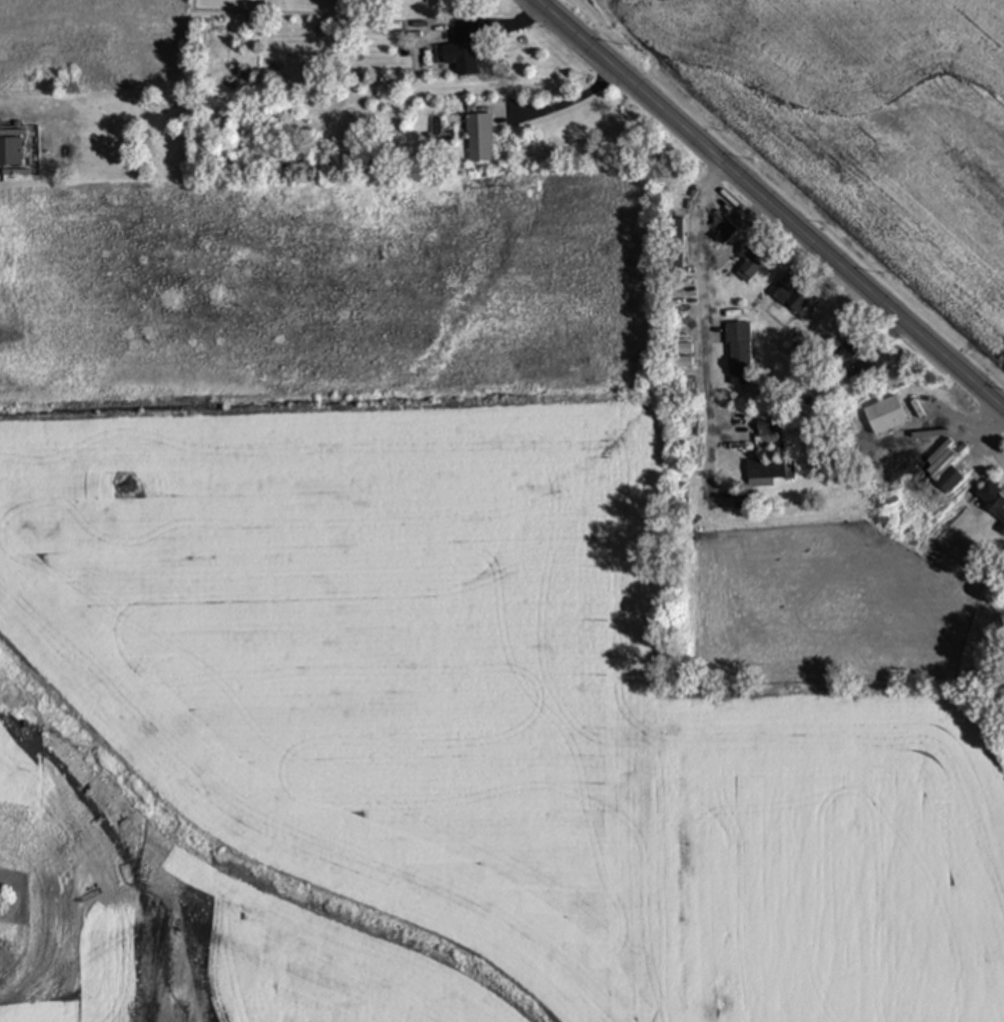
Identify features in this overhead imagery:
building: (463, 53)
building: (481, 138)
building: (11, 152)
road: (768, 207)
road: (738, 213)
building: (727, 234)
building: (674, 244)
road: (727, 254)
building: (752, 262)
building: (794, 296)
road: (701, 329)
building: (740, 355)
building: (854, 359)
building: (885, 415)
building: (767, 427)
building: (765, 472)
building: (949, 481)
building: (992, 499)
building: (1002, 529)

